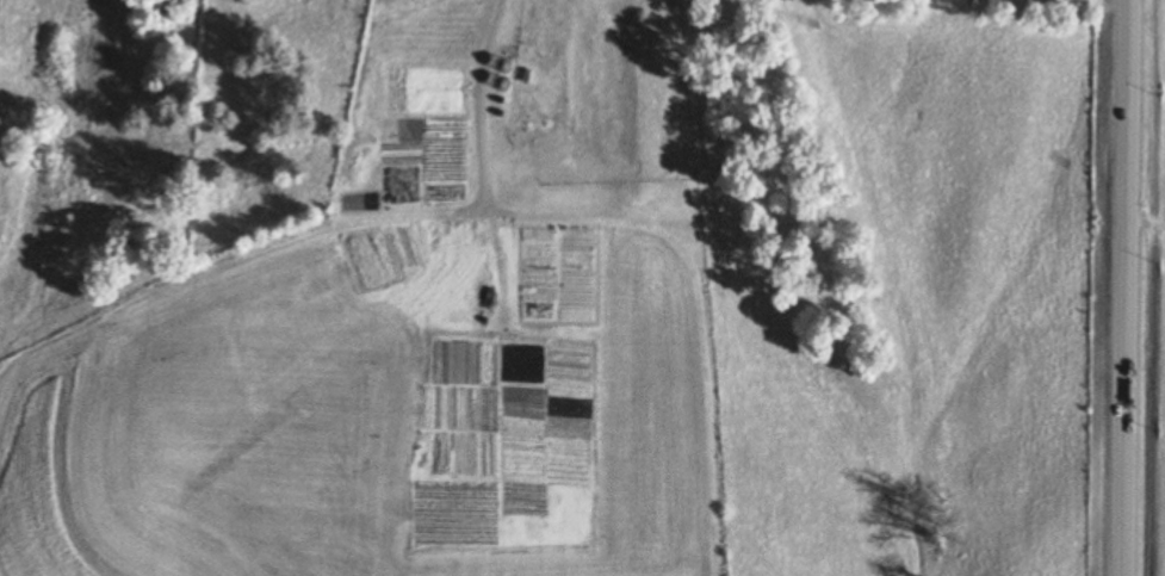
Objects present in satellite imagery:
road: (1124, 287)

